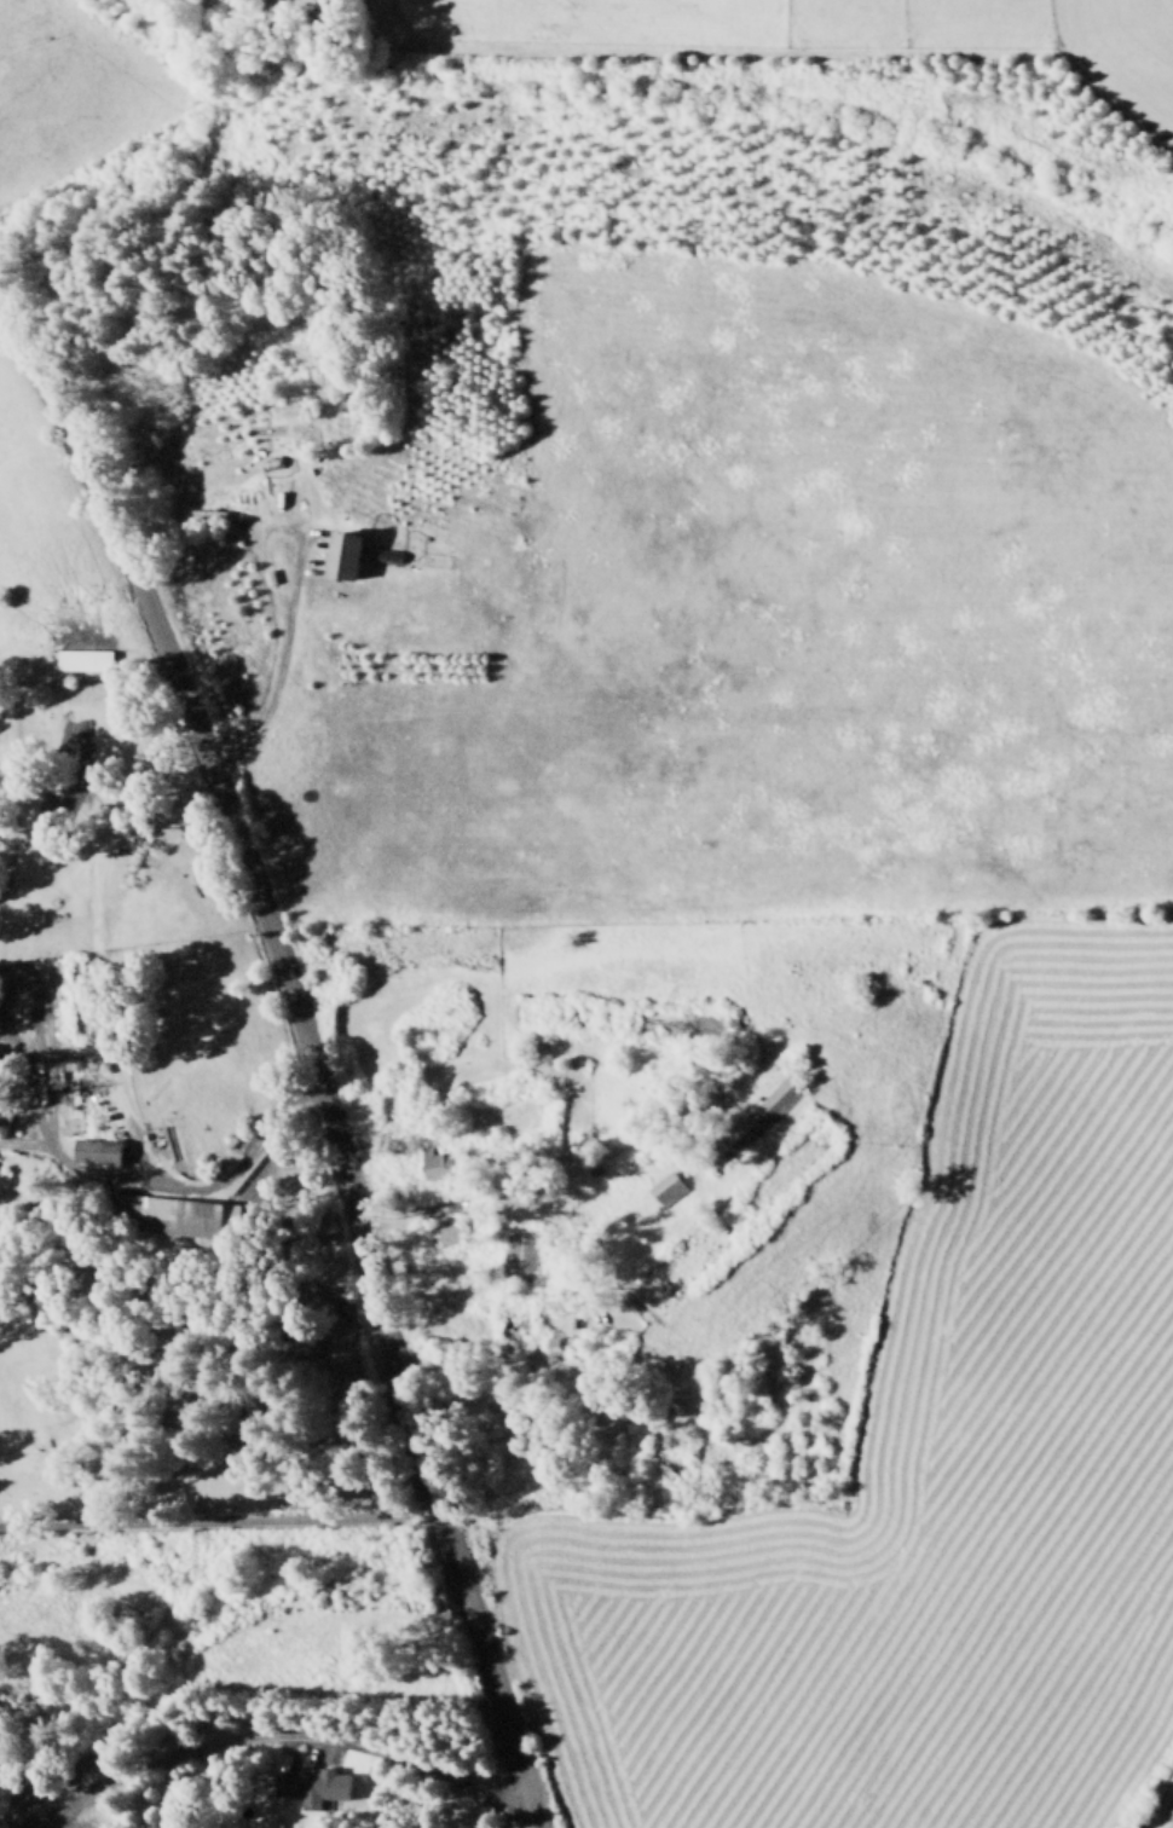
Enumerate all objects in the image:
building: (340, 554)
building: (81, 655)
road: (273, 667)
crop: (664, 828)
road: (304, 1041)
building: (703, 1106)
building: (770, 1106)
building: (93, 1147)
building: (437, 1161)
road: (146, 1180)
road: (498, 1182)
building: (664, 1187)
building: (168, 1209)
building: (441, 1232)
building: (518, 1250)
road: (218, 1517)
road: (279, 1732)
building: (310, 1783)

